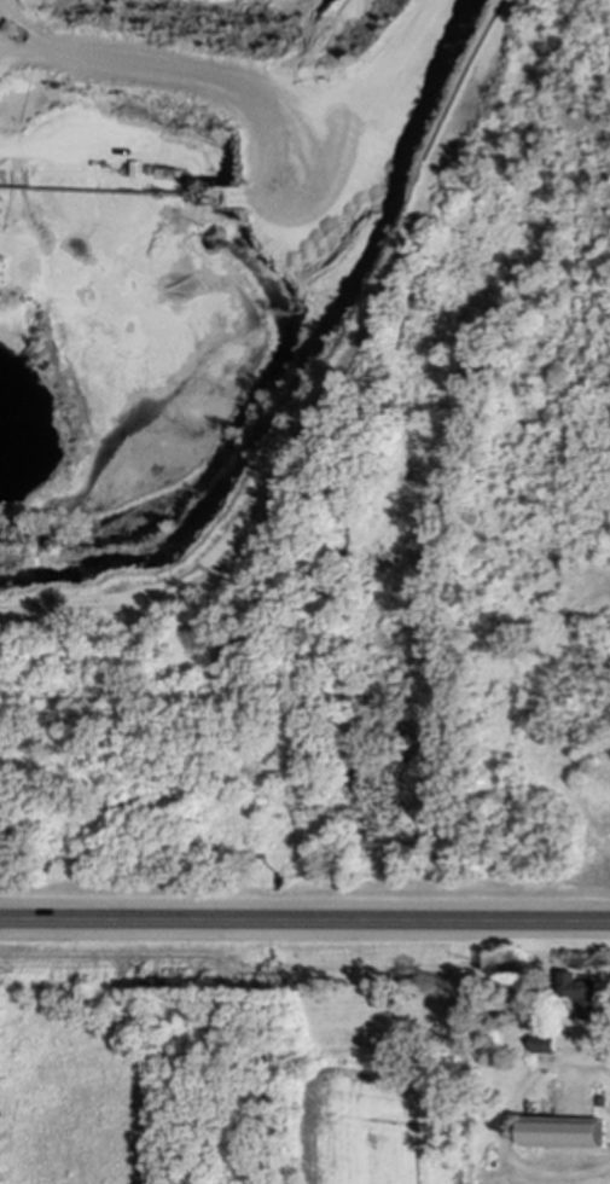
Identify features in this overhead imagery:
quarry: (304, 453)
road: (304, 922)
building: (582, 993)
building: (542, 1044)
road: (506, 1124)
crop: (362, 1130)
building: (564, 1133)

